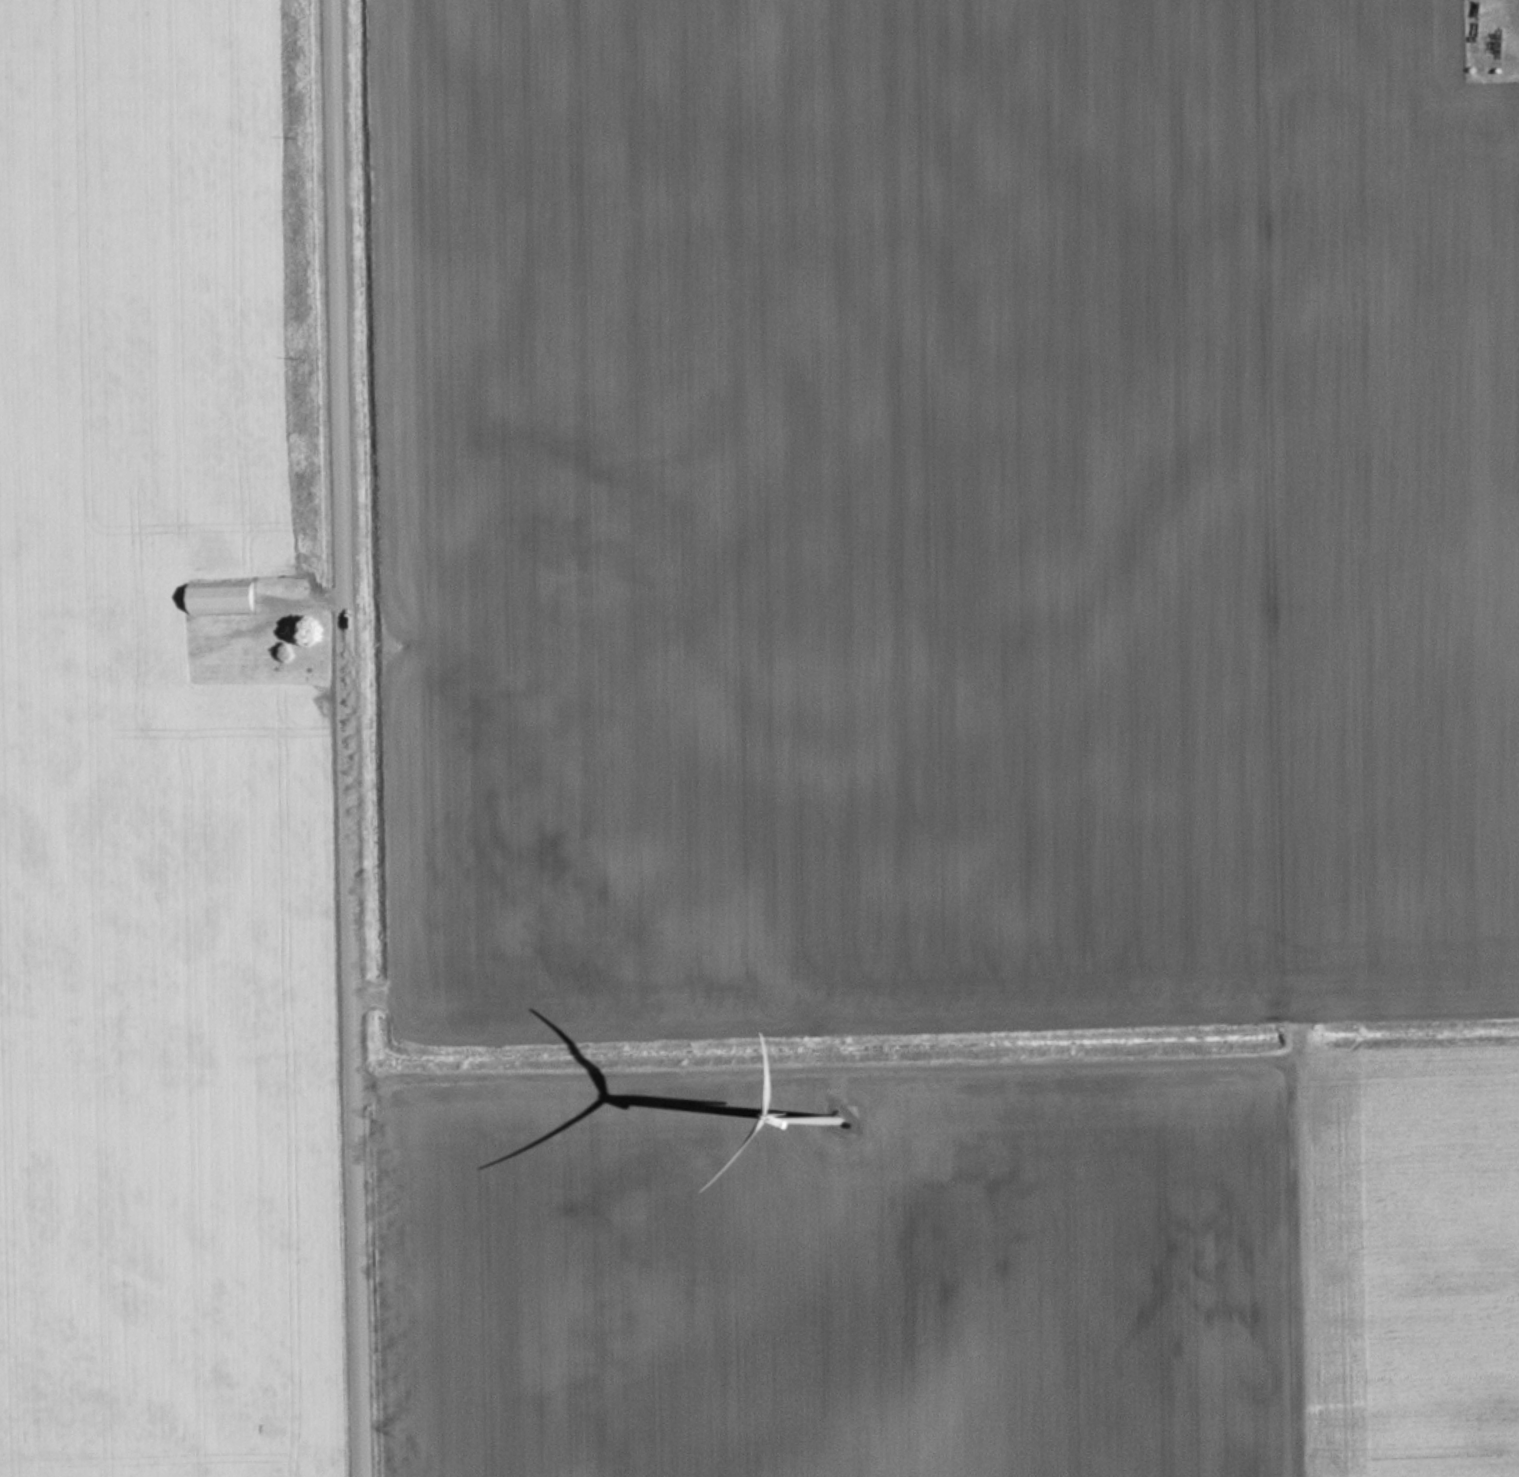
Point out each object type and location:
building: (222, 596)
road: (353, 738)
road: (1040, 1039)
wind turbine: (831, 1113)

